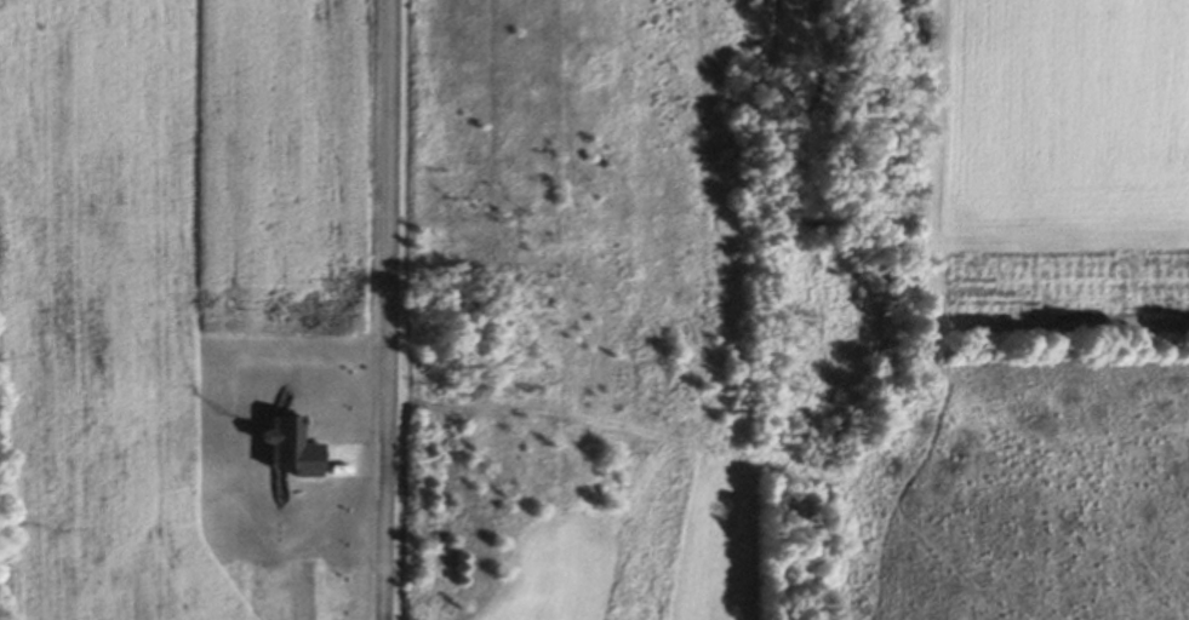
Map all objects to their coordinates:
road: (390, 310)

